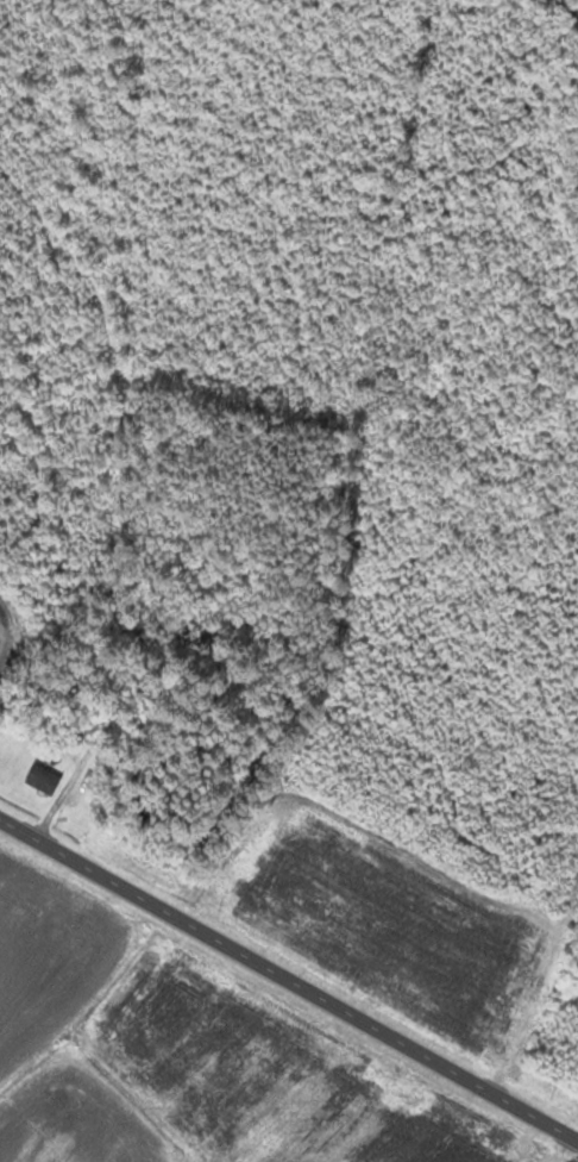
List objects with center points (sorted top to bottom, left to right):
building: (44, 779)
road: (289, 977)

